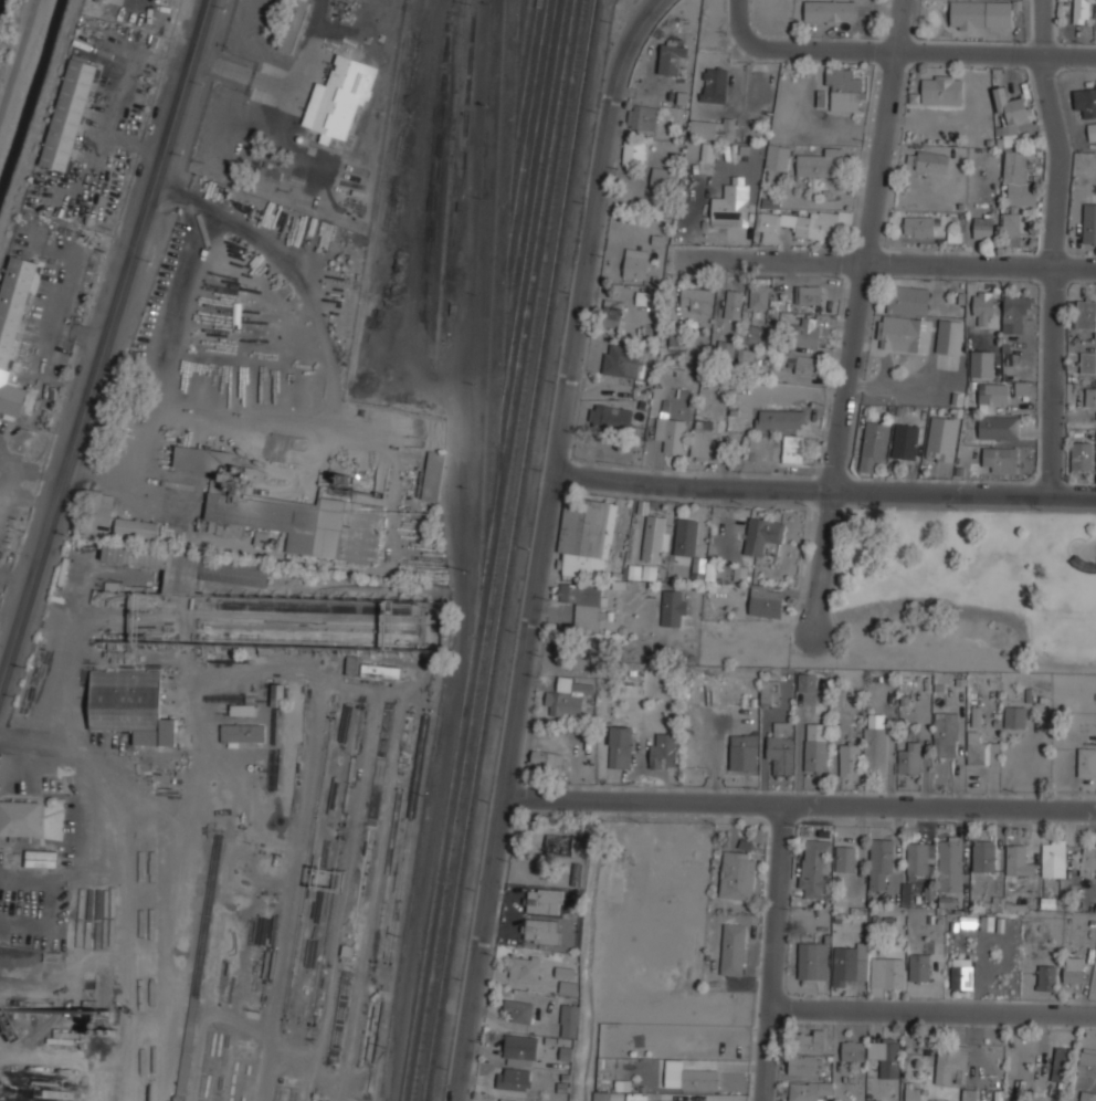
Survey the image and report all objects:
railway: (520, 9)
building: (830, 11)
building: (1081, 11)
building: (982, 14)
building: (292, 25)
railway: (525, 39)
road: (15, 52)
road: (899, 52)
building: (672, 57)
railway: (378, 77)
building: (714, 83)
railway: (526, 86)
building: (940, 88)
building: (843, 90)
building: (339, 98)
building: (1085, 101)
building: (1011, 108)
building: (67, 116)
building: (642, 116)
railway: (529, 124)
building: (712, 127)
building: (1092, 132)
building: (707, 151)
building: (633, 153)
building: (777, 156)
building: (928, 160)
building: (821, 162)
railway: (530, 170)
building: (663, 178)
building: (1016, 179)
railway: (447, 181)
railway: (382, 195)
building: (730, 202)
building: (770, 203)
railway: (533, 213)
building: (1089, 222)
building: (1011, 223)
building: (798, 224)
building: (919, 224)
building: (983, 226)
road: (590, 230)
building: (955, 237)
railway: (509, 244)
railway: (537, 244)
road: (1052, 247)
road: (906, 263)
building: (634, 265)
building: (758, 295)
building: (815, 297)
building: (696, 298)
building: (733, 303)
building: (983, 310)
railway: (491, 312)
building: (611, 313)
building: (1015, 314)
building: (1086, 314)
road: (856, 316)
building: (904, 318)
building: (13, 325)
building: (805, 331)
building: (749, 333)
building: (949, 335)
road: (103, 340)
building: (724, 347)
building: (620, 359)
building: (1087, 361)
building: (803, 364)
building: (982, 364)
building: (993, 394)
building: (1090, 396)
building: (610, 415)
building: (779, 421)
building: (999, 427)
building: (670, 432)
building: (940, 438)
building: (702, 439)
building: (905, 441)
building: (873, 443)
building: (793, 449)
building: (1082, 455)
building: (1001, 459)
building: (203, 460)
building: (433, 475)
building: (229, 485)
road: (824, 487)
building: (101, 508)
building: (299, 525)
building: (136, 528)
building: (586, 534)
building: (761, 534)
building: (685, 536)
building: (653, 537)
railway: (498, 550)
railway: (512, 550)
building: (137, 556)
building: (698, 565)
building: (233, 573)
building: (643, 573)
park: (968, 589)
building: (583, 601)
building: (765, 604)
building: (673, 607)
building: (370, 668)
building: (805, 682)
building: (563, 684)
building: (768, 690)
building: (837, 693)
building: (277, 694)
building: (566, 700)
building: (130, 704)
building: (242, 710)
building: (1014, 716)
building: (242, 732)
building: (945, 734)
road: (62, 745)
building: (620, 746)
building: (815, 746)
building: (780, 747)
building: (875, 748)
building: (980, 749)
building: (663, 751)
road: (800, 752)
building: (742, 753)
building: (849, 757)
building: (909, 757)
building: (548, 759)
building: (1086, 761)
road: (505, 786)
railway: (450, 795)
road: (799, 805)
building: (20, 818)
building: (559, 846)
building: (983, 854)
building: (1054, 857)
building: (845, 858)
building: (920, 858)
building: (41, 859)
building: (1016, 859)
building: (1087, 860)
building: (881, 862)
building: (949, 863)
building: (814, 868)
building: (737, 875)
building: (544, 901)
building: (540, 931)
building: (733, 950)
road: (773, 952)
building: (812, 960)
building: (850, 962)
building: (919, 964)
building: (525, 968)
building: (1073, 968)
building: (887, 972)
building: (961, 976)
building: (1046, 977)
building: (568, 987)
building: (519, 1010)
road: (932, 1010)
building: (569, 1020)
building: (807, 1040)
building: (520, 1050)
building: (853, 1050)
building: (885, 1056)
building: (1087, 1062)
building: (1060, 1063)
building: (802, 1065)
building: (951, 1065)
building: (689, 1078)
building: (514, 1079)
building: (808, 1089)
building: (913, 1094)
building: (969, 1094)
building: (601, 1095)
building: (1087, 1095)
building: (499, 1100)

